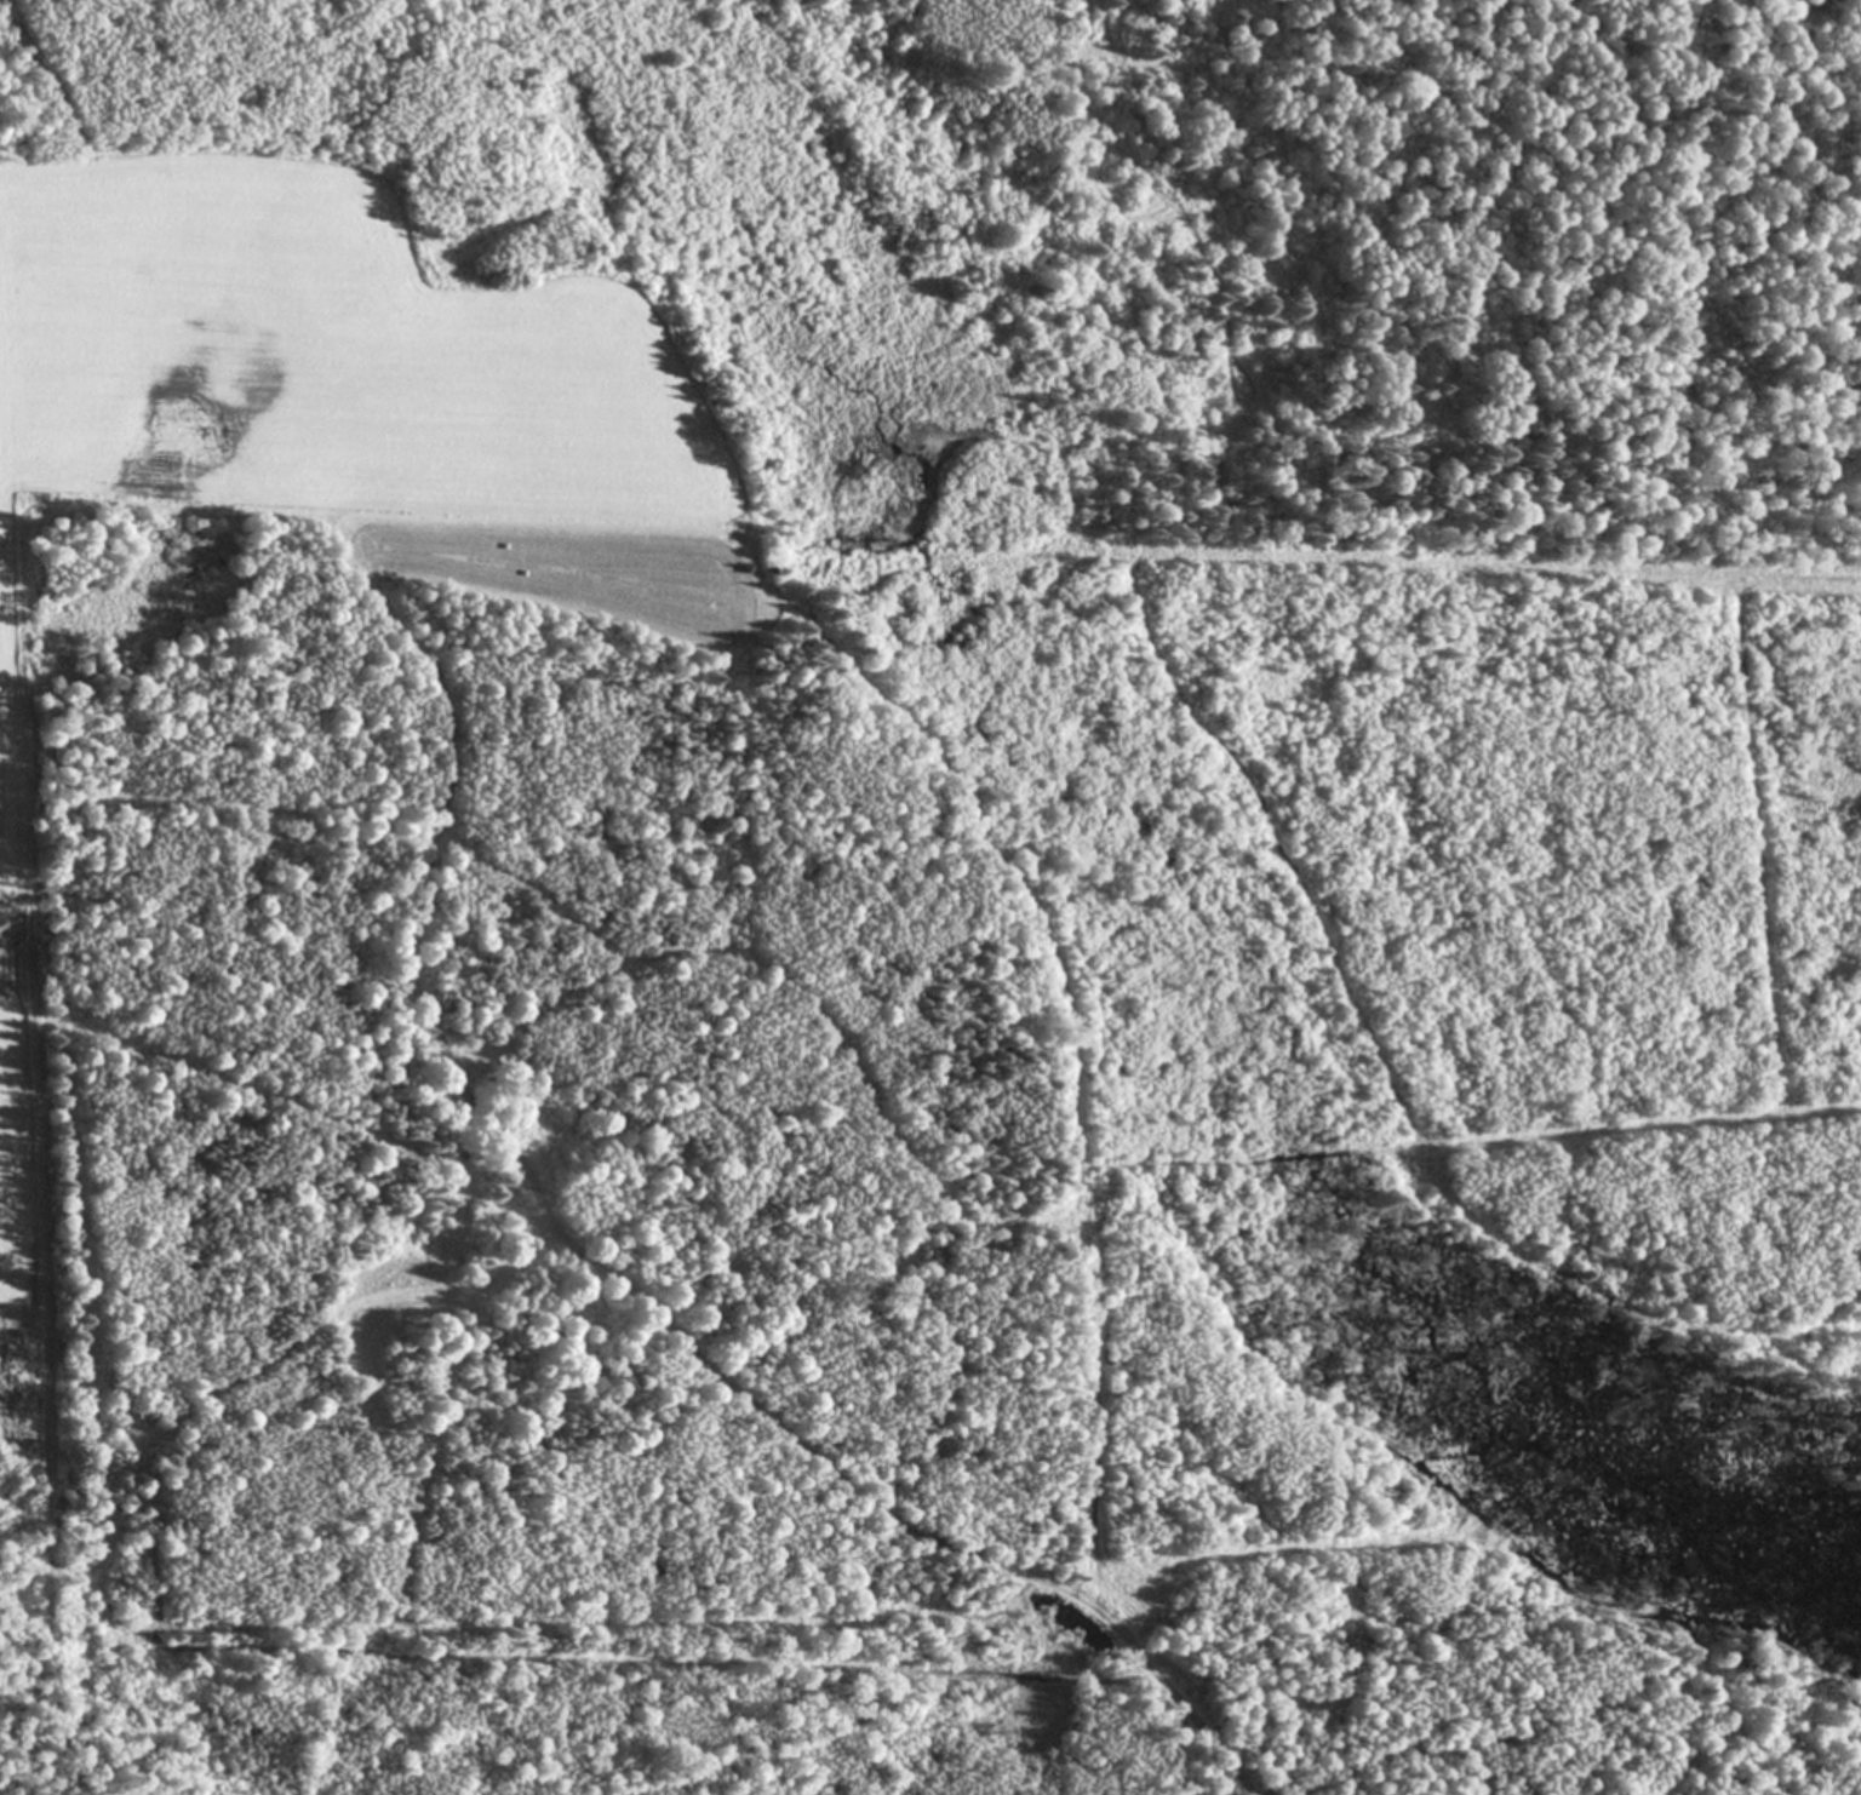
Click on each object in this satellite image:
road: (13, 493)

